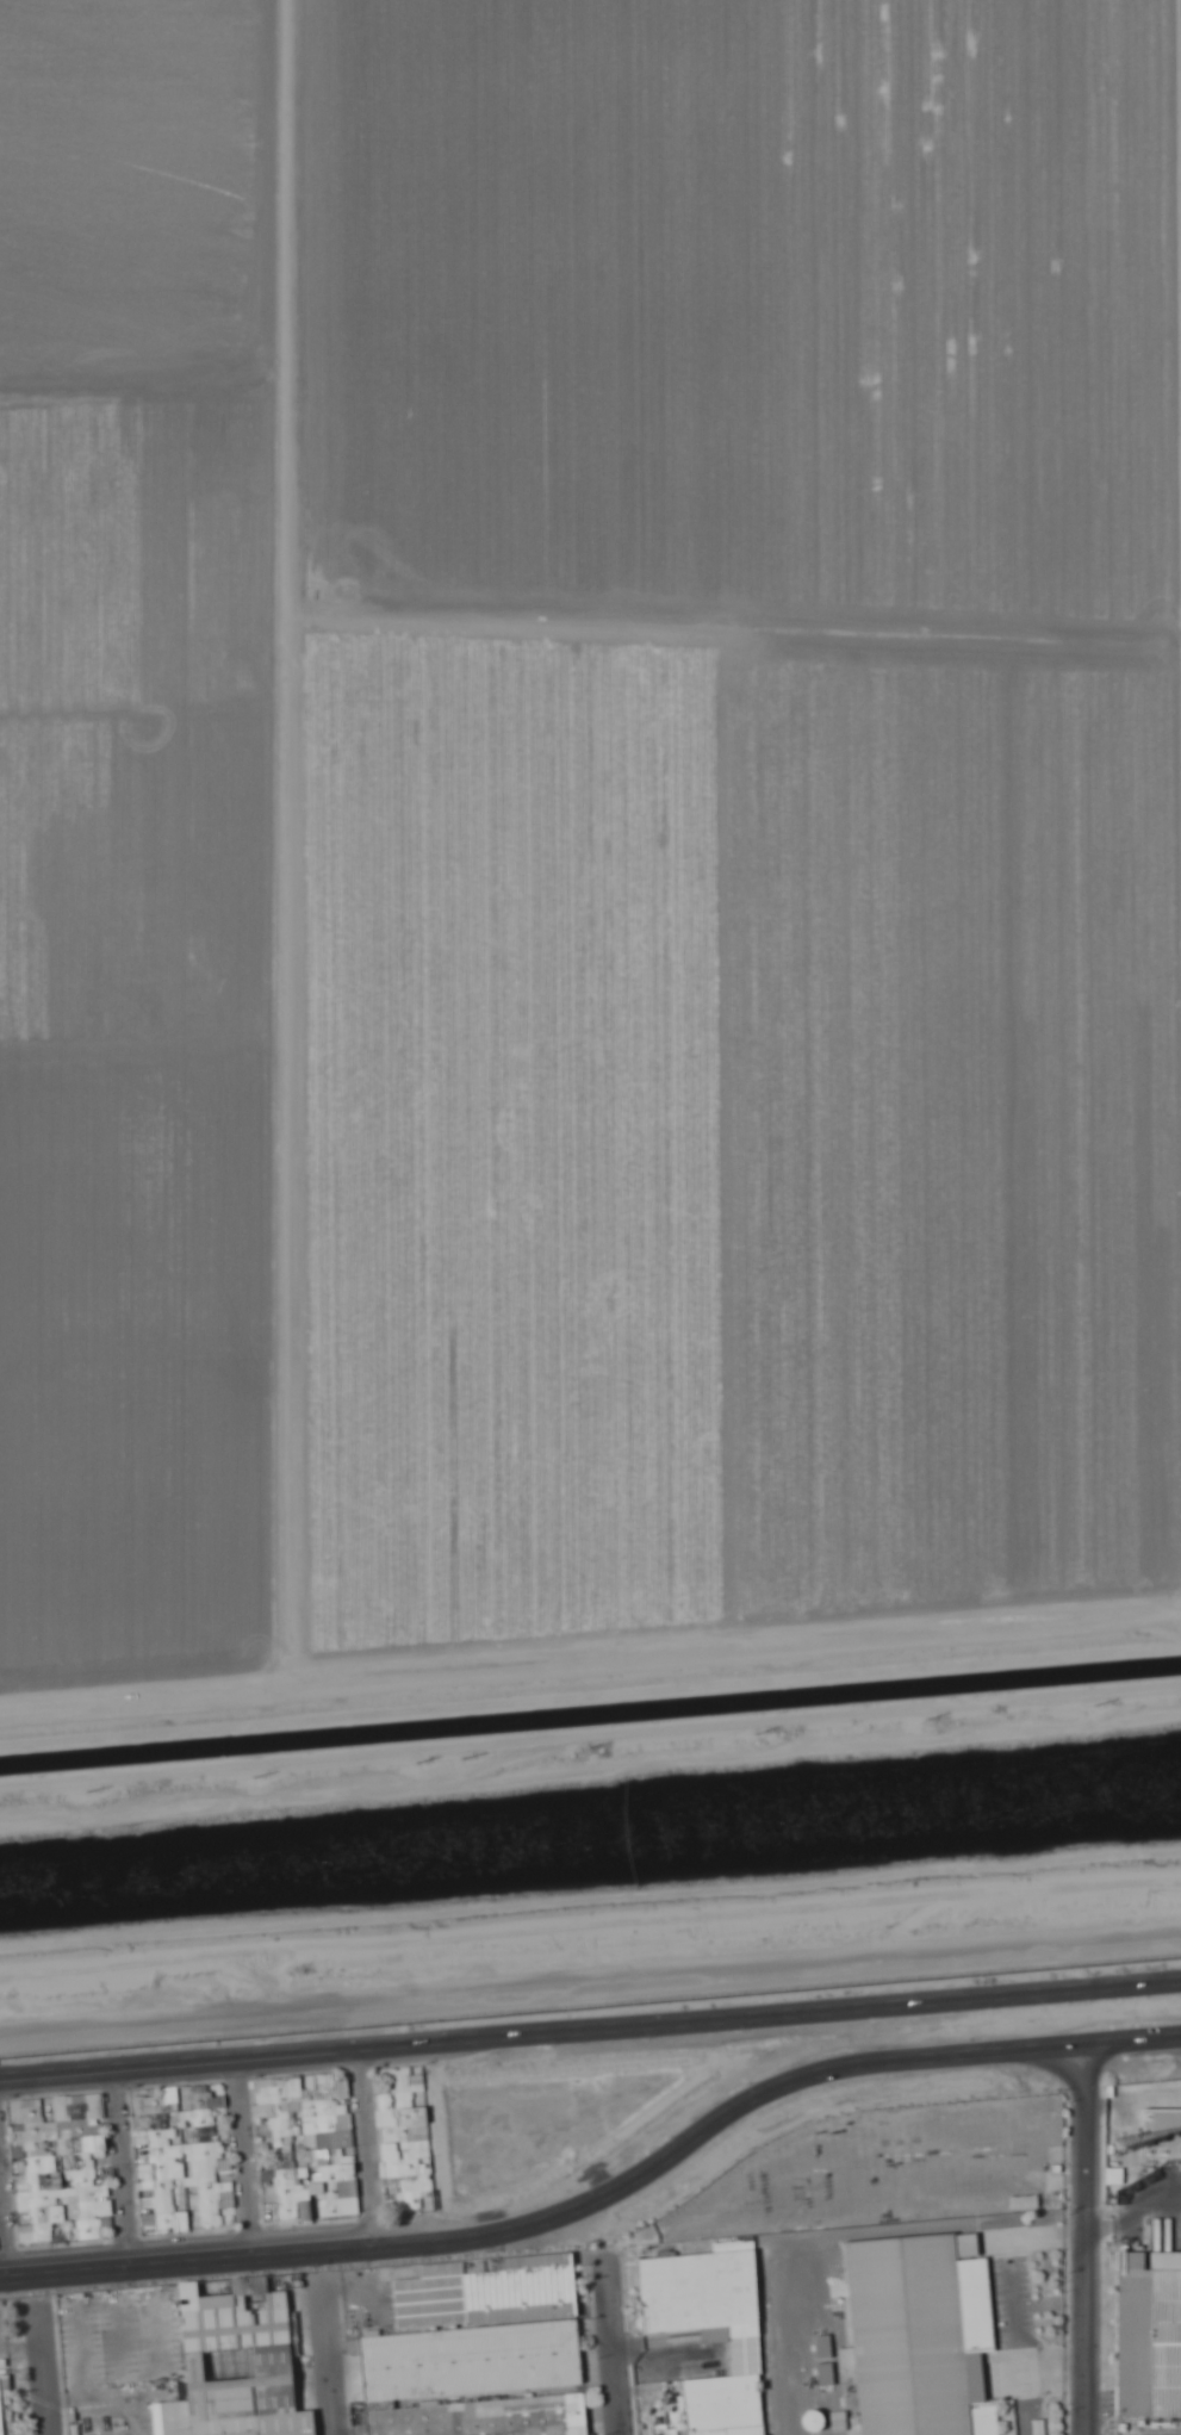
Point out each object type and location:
road: (883, 2010)
road: (292, 2057)
road: (874, 2068)
building: (1162, 2132)
road: (368, 2150)
road: (248, 2160)
road: (126, 2170)
building: (343, 2189)
building: (306, 2211)
road: (6, 2217)
road: (1084, 2242)
road: (304, 2254)
building: (713, 2330)
building: (414, 2335)
building: (930, 2335)
building: (1167, 2343)
road: (615, 2350)
road: (332, 2363)
building: (243, 2366)
road: (46, 2379)
building: (1, 2409)
building: (475, 2418)

